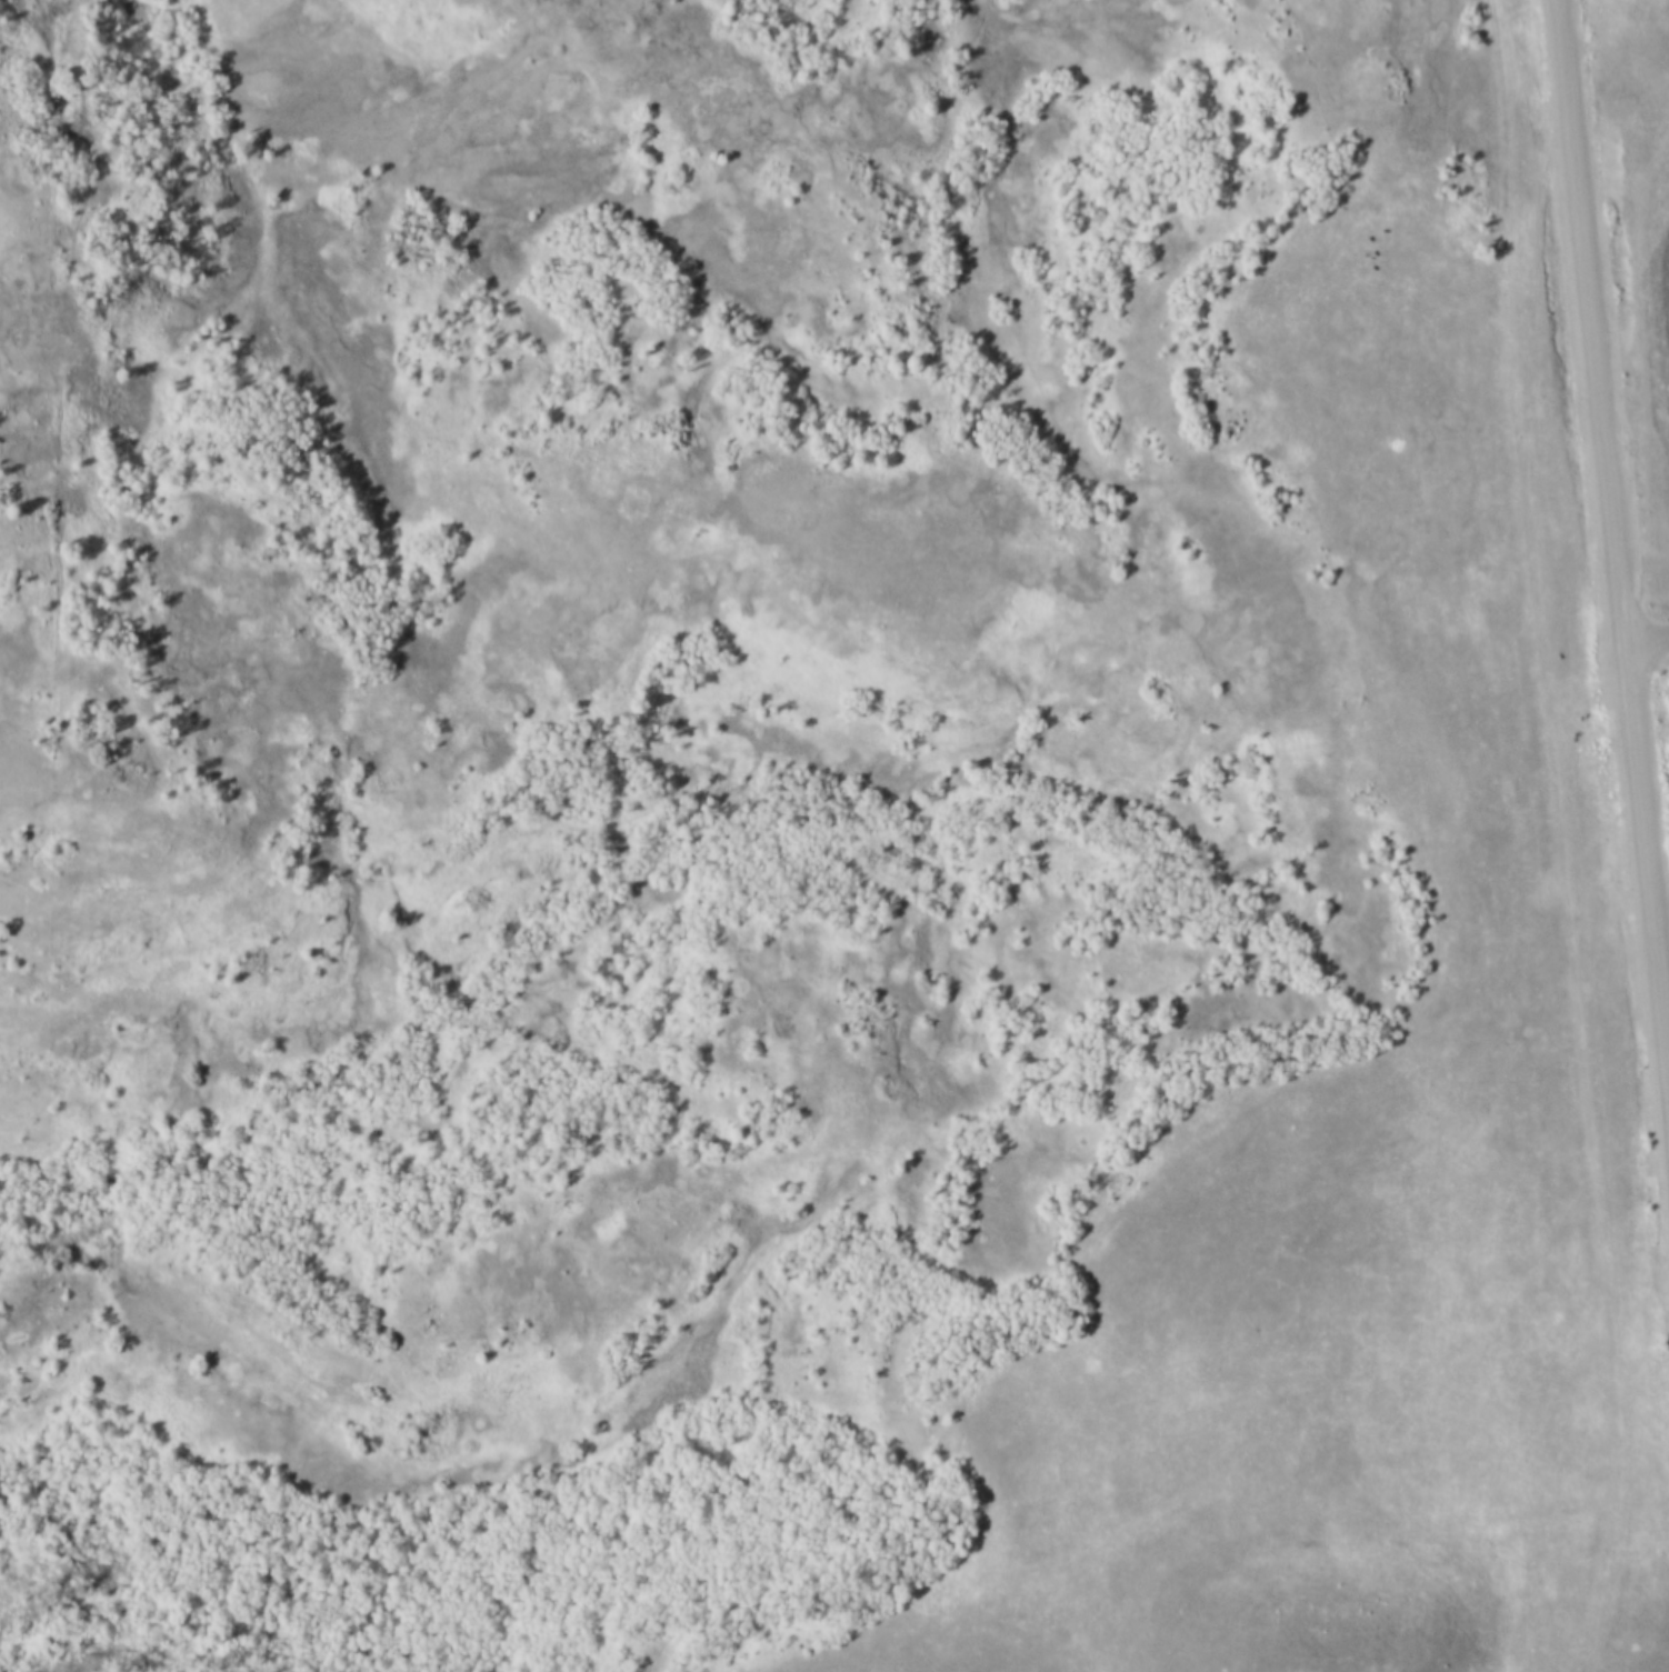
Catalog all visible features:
road: (1613, 538)

